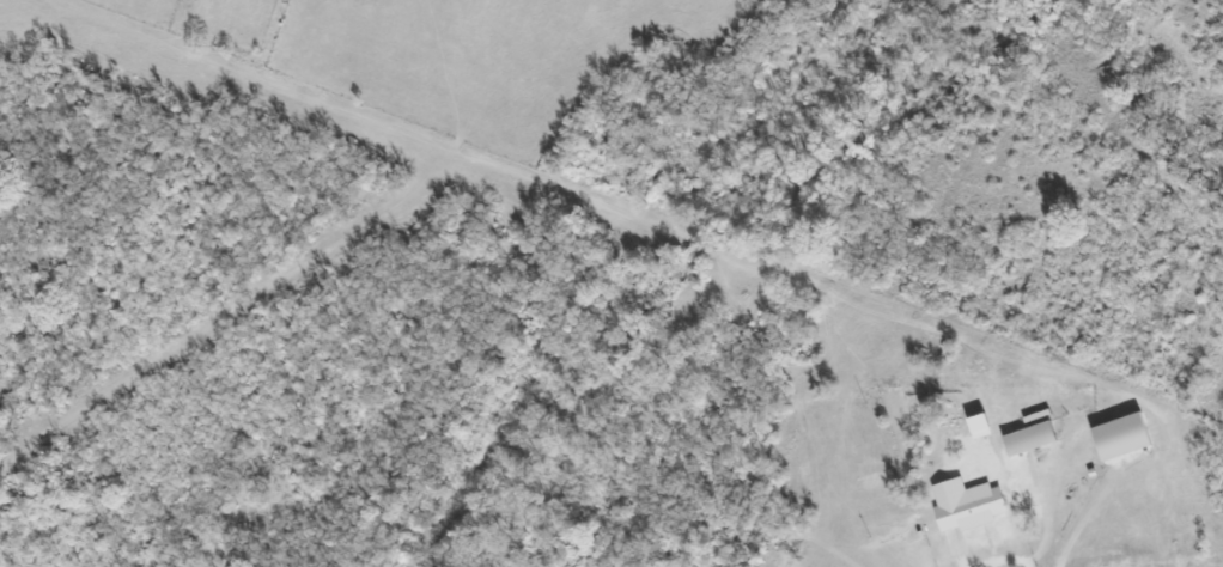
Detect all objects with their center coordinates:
building: (1028, 438)
building: (978, 505)
road: (960, 563)

